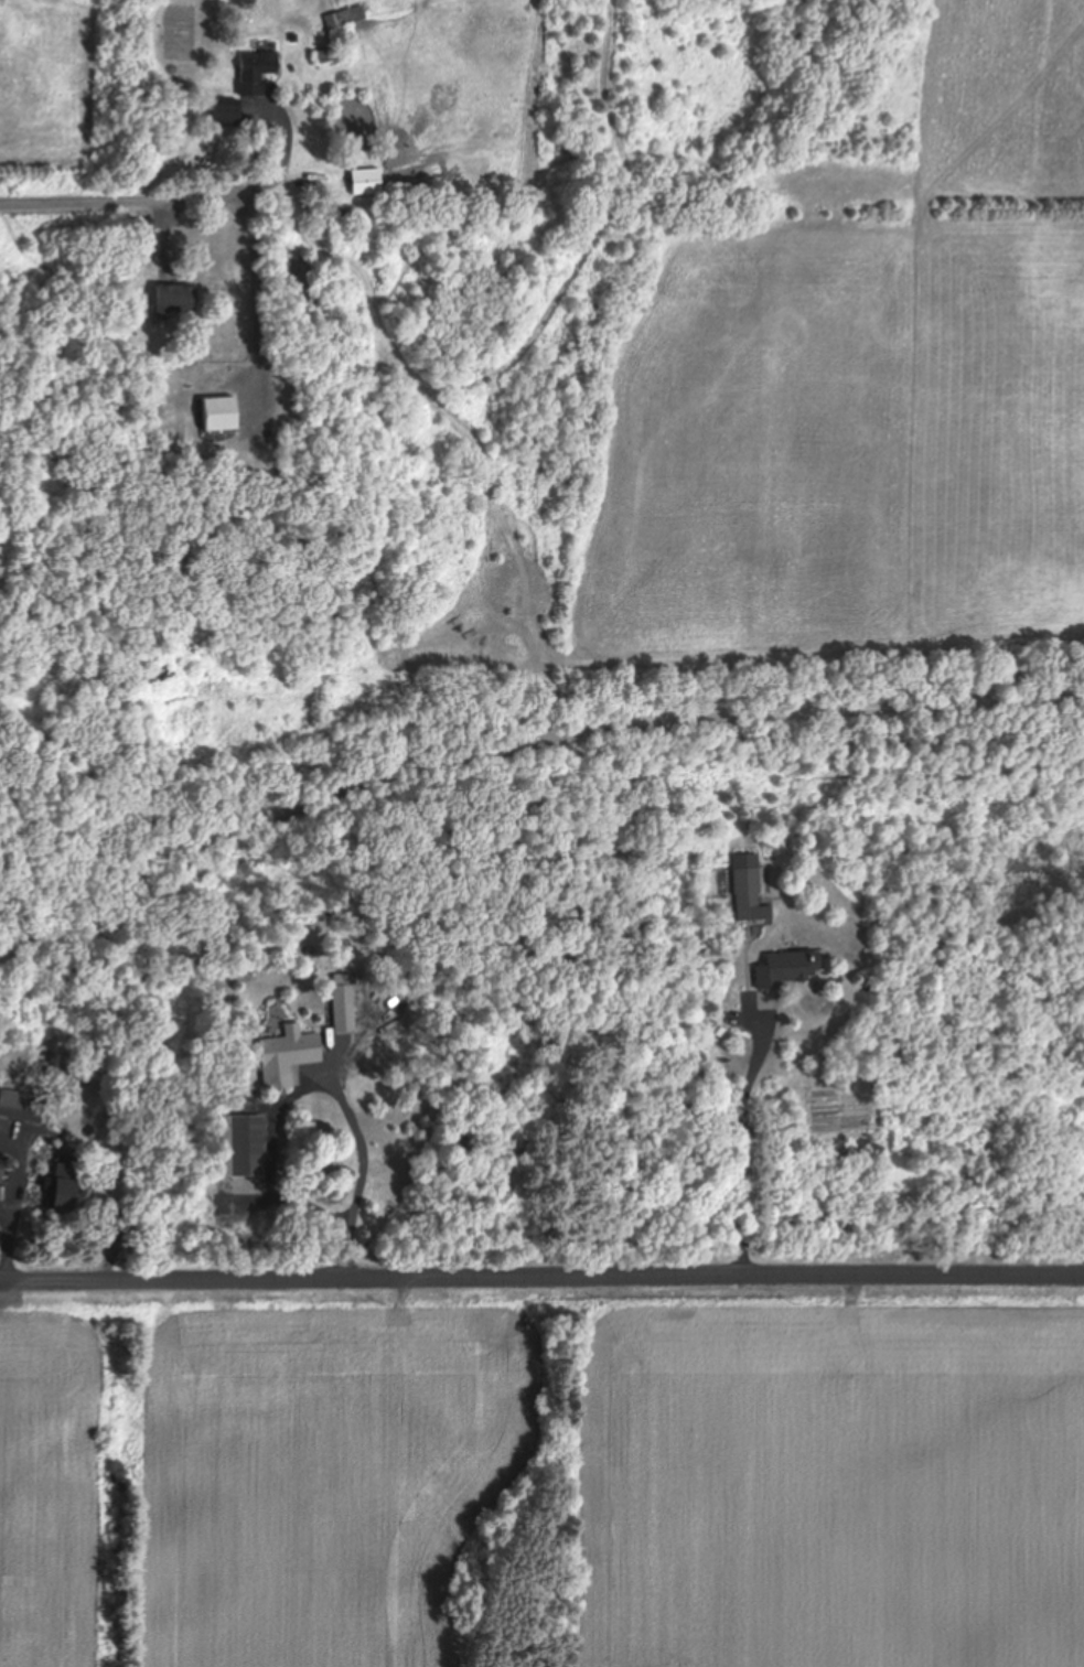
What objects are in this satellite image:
building: (345, 19)
building: (254, 74)
building: (222, 114)
building: (364, 181)
road: (118, 193)
building: (141, 234)
building: (172, 301)
building: (217, 415)
crop: (830, 437)
road: (516, 748)
building: (745, 889)
building: (786, 969)
building: (343, 1008)
building: (286, 1056)
building: (21, 1107)
building: (242, 1146)
building: (57, 1185)
road: (541, 1272)

